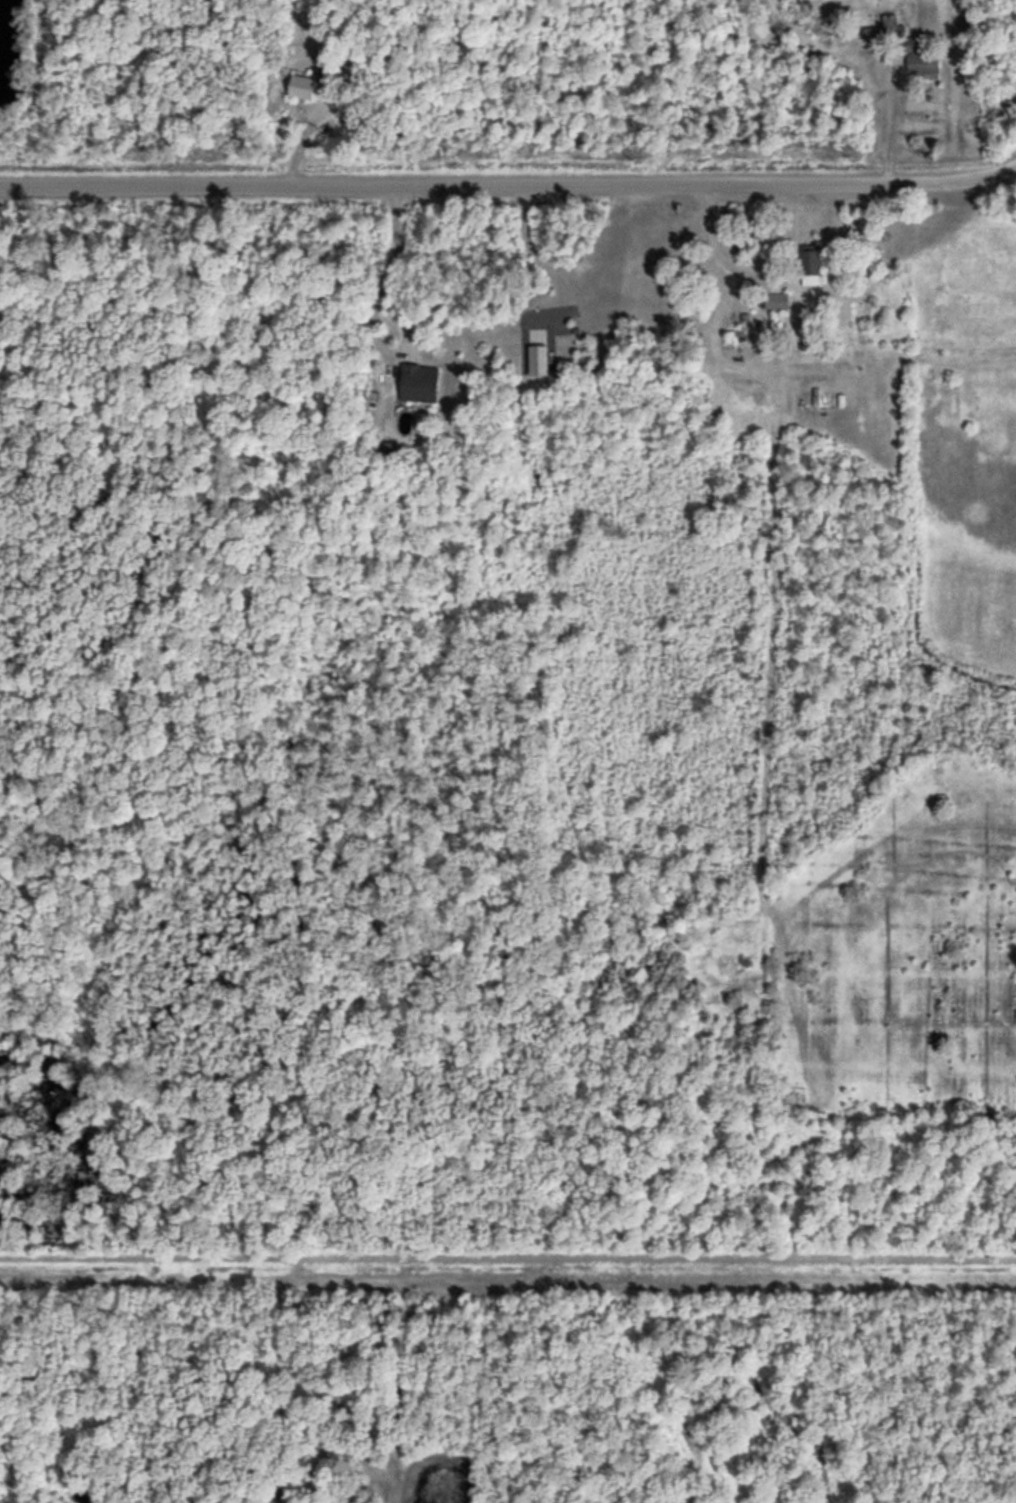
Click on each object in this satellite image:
building: (887, 27)
building: (924, 61)
building: (304, 83)
road: (509, 180)
building: (421, 382)

